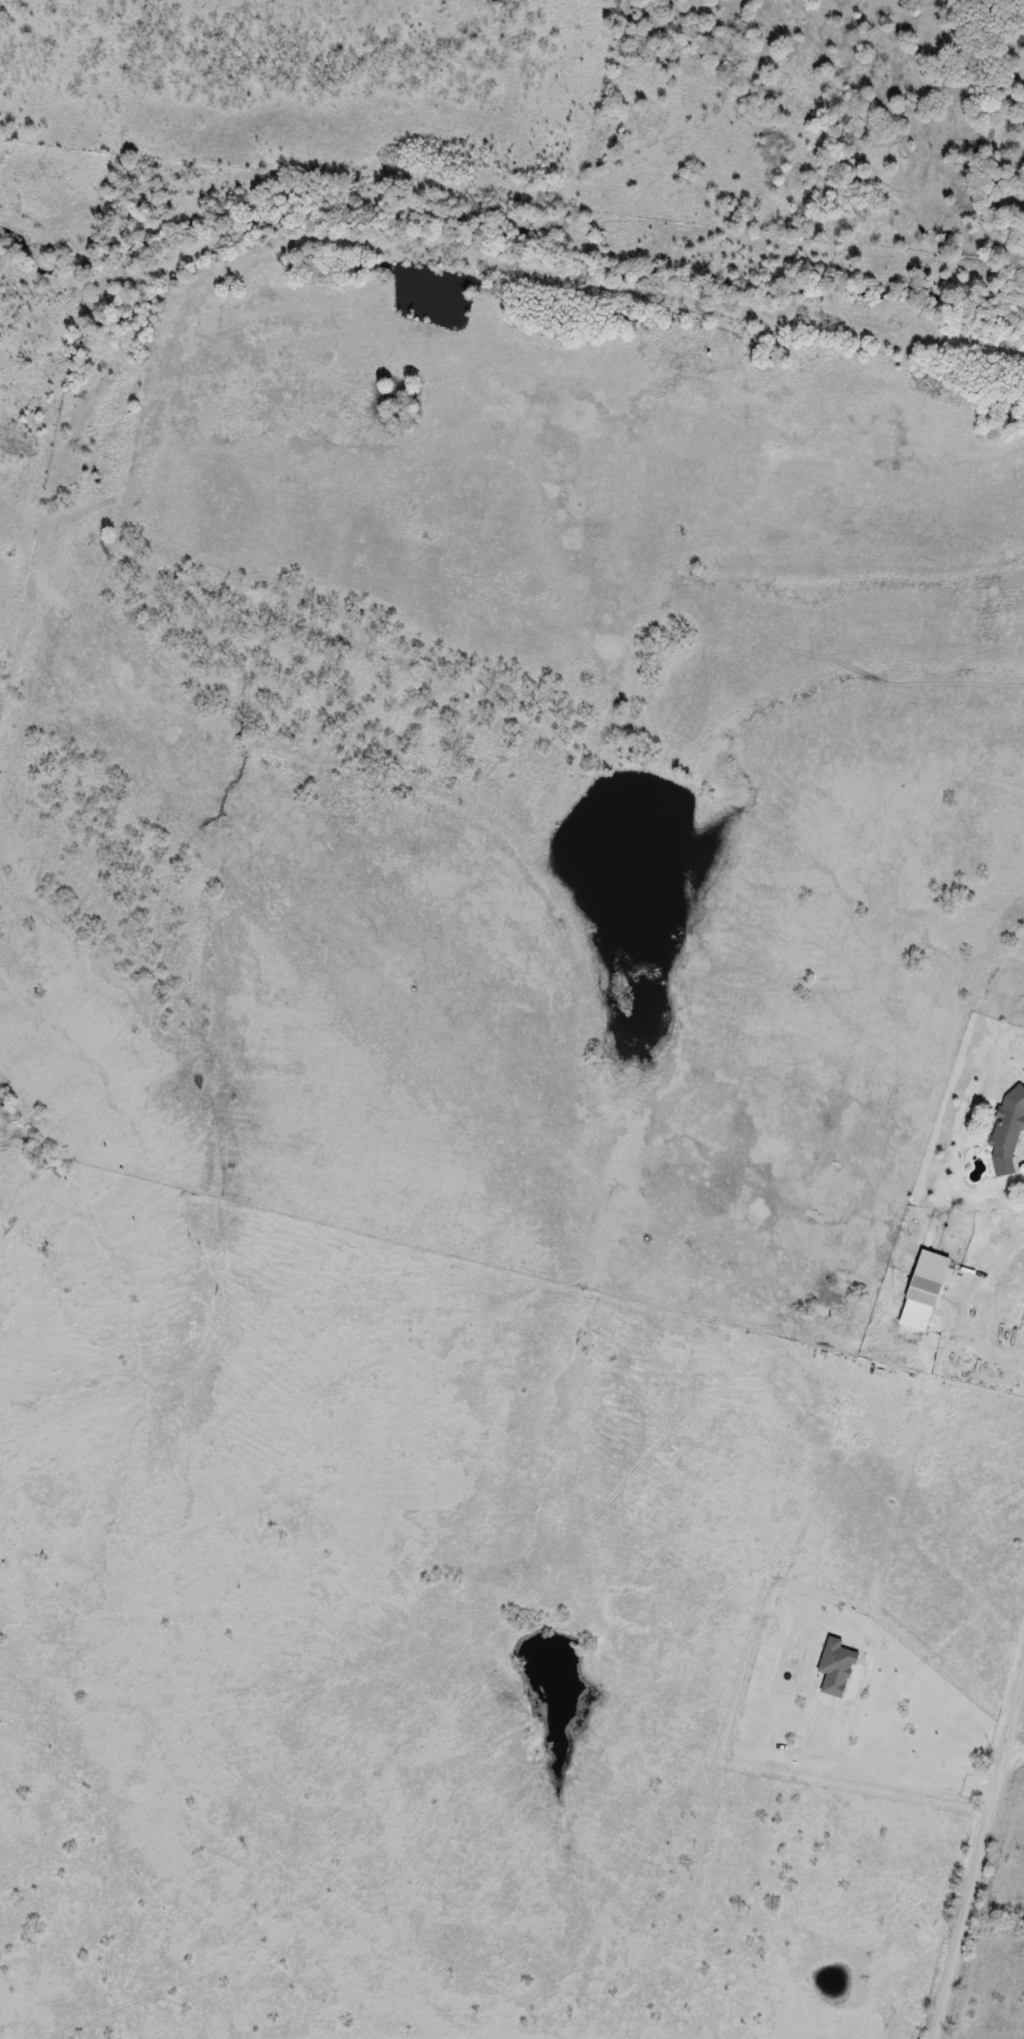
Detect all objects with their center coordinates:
building: (1006, 1140)
building: (960, 1217)
building: (924, 1291)
road: (968, 1311)
road: (1015, 1742)
road: (883, 1769)
road: (977, 1854)

